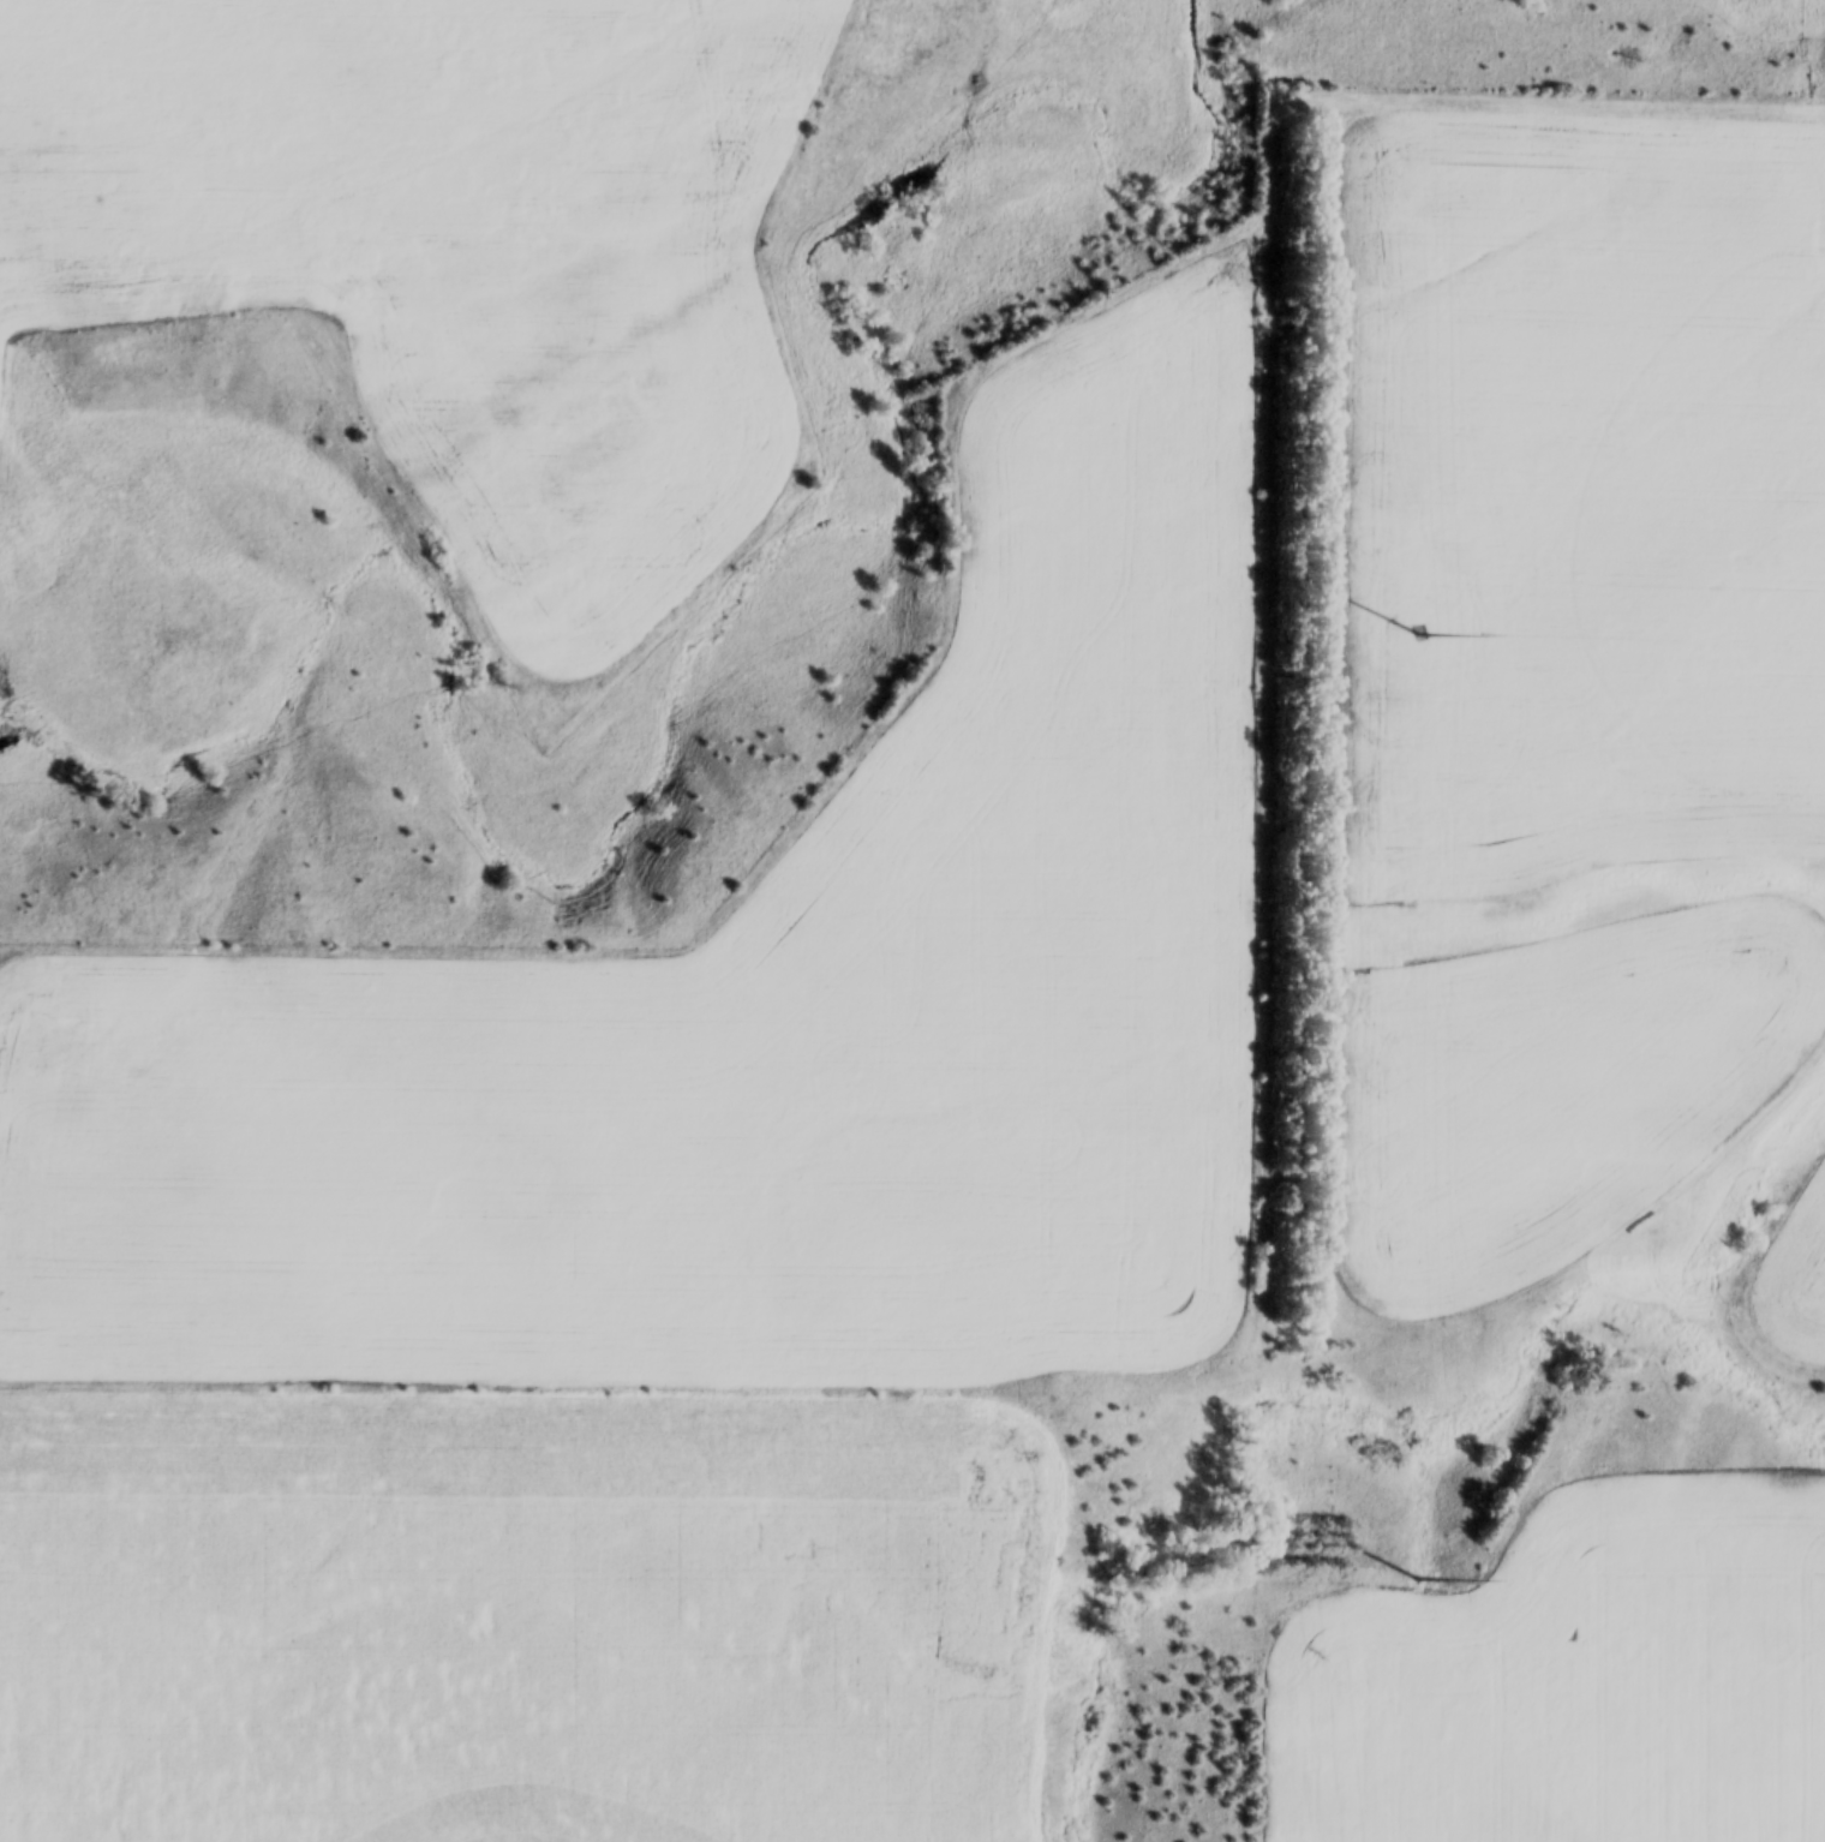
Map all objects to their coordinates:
power tower: (1419, 632)
power tower: (1419, 1577)

